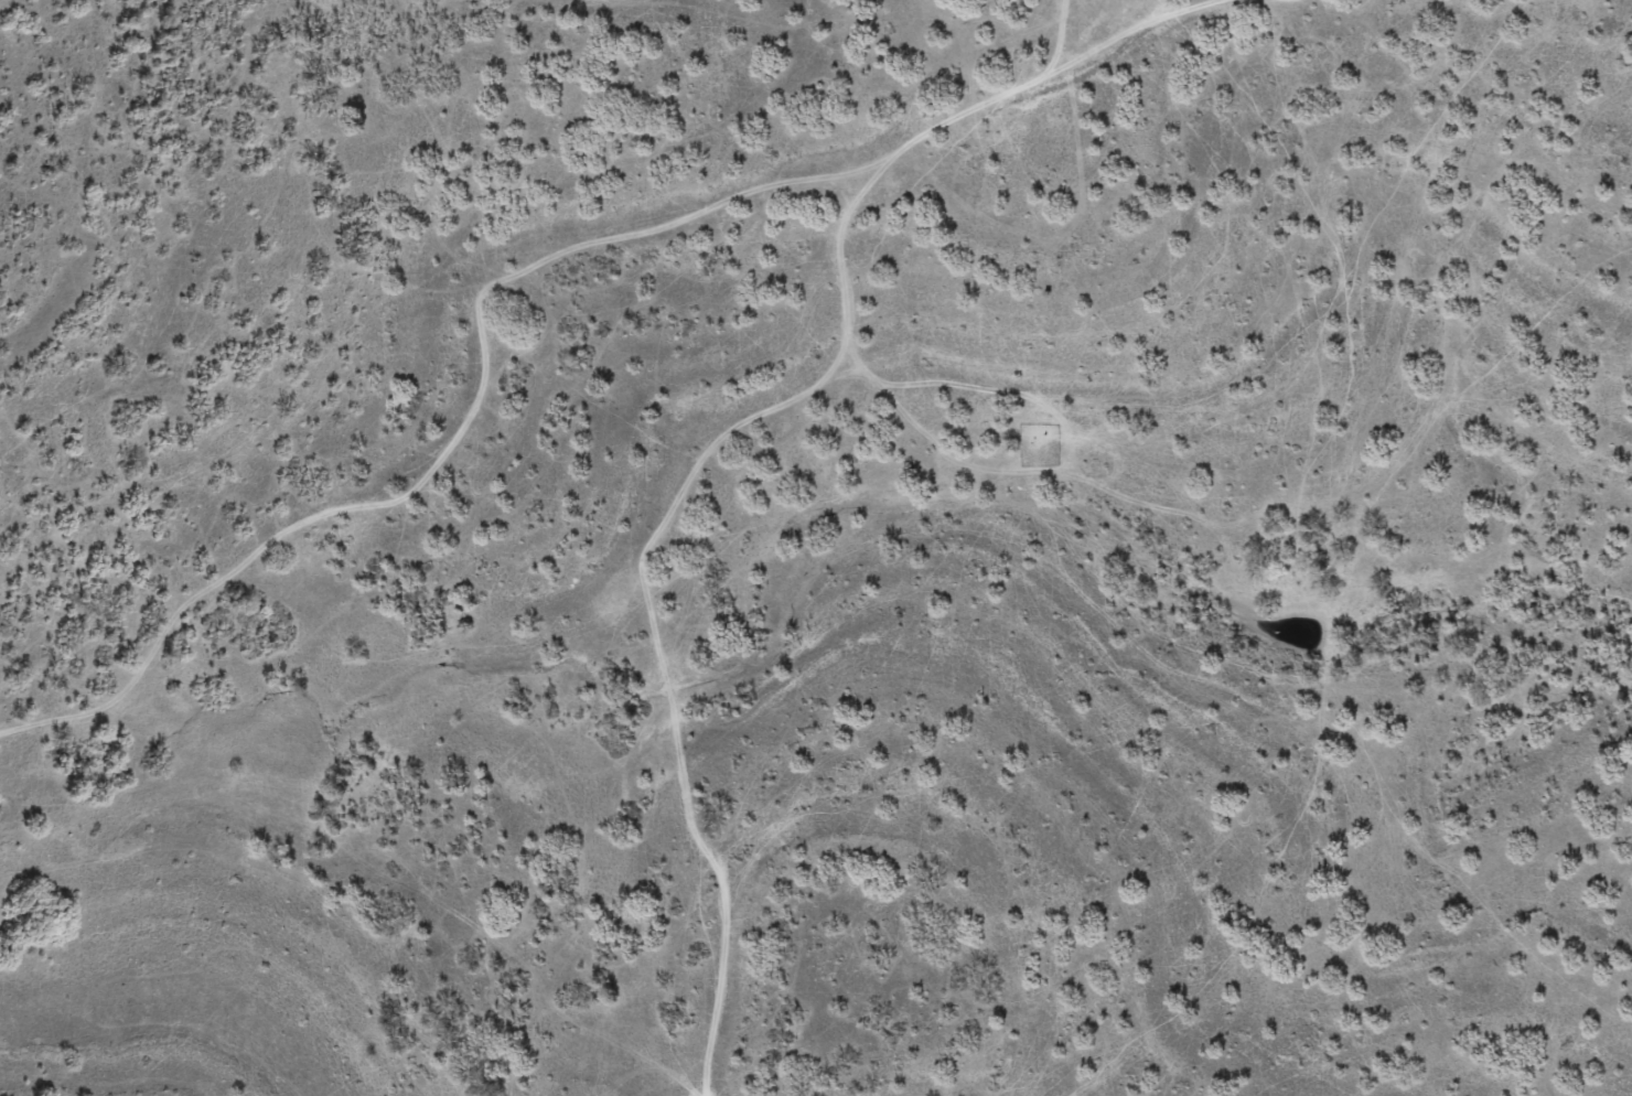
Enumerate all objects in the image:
road: (551, 279)
road: (380, 852)
road: (1597, 1078)

